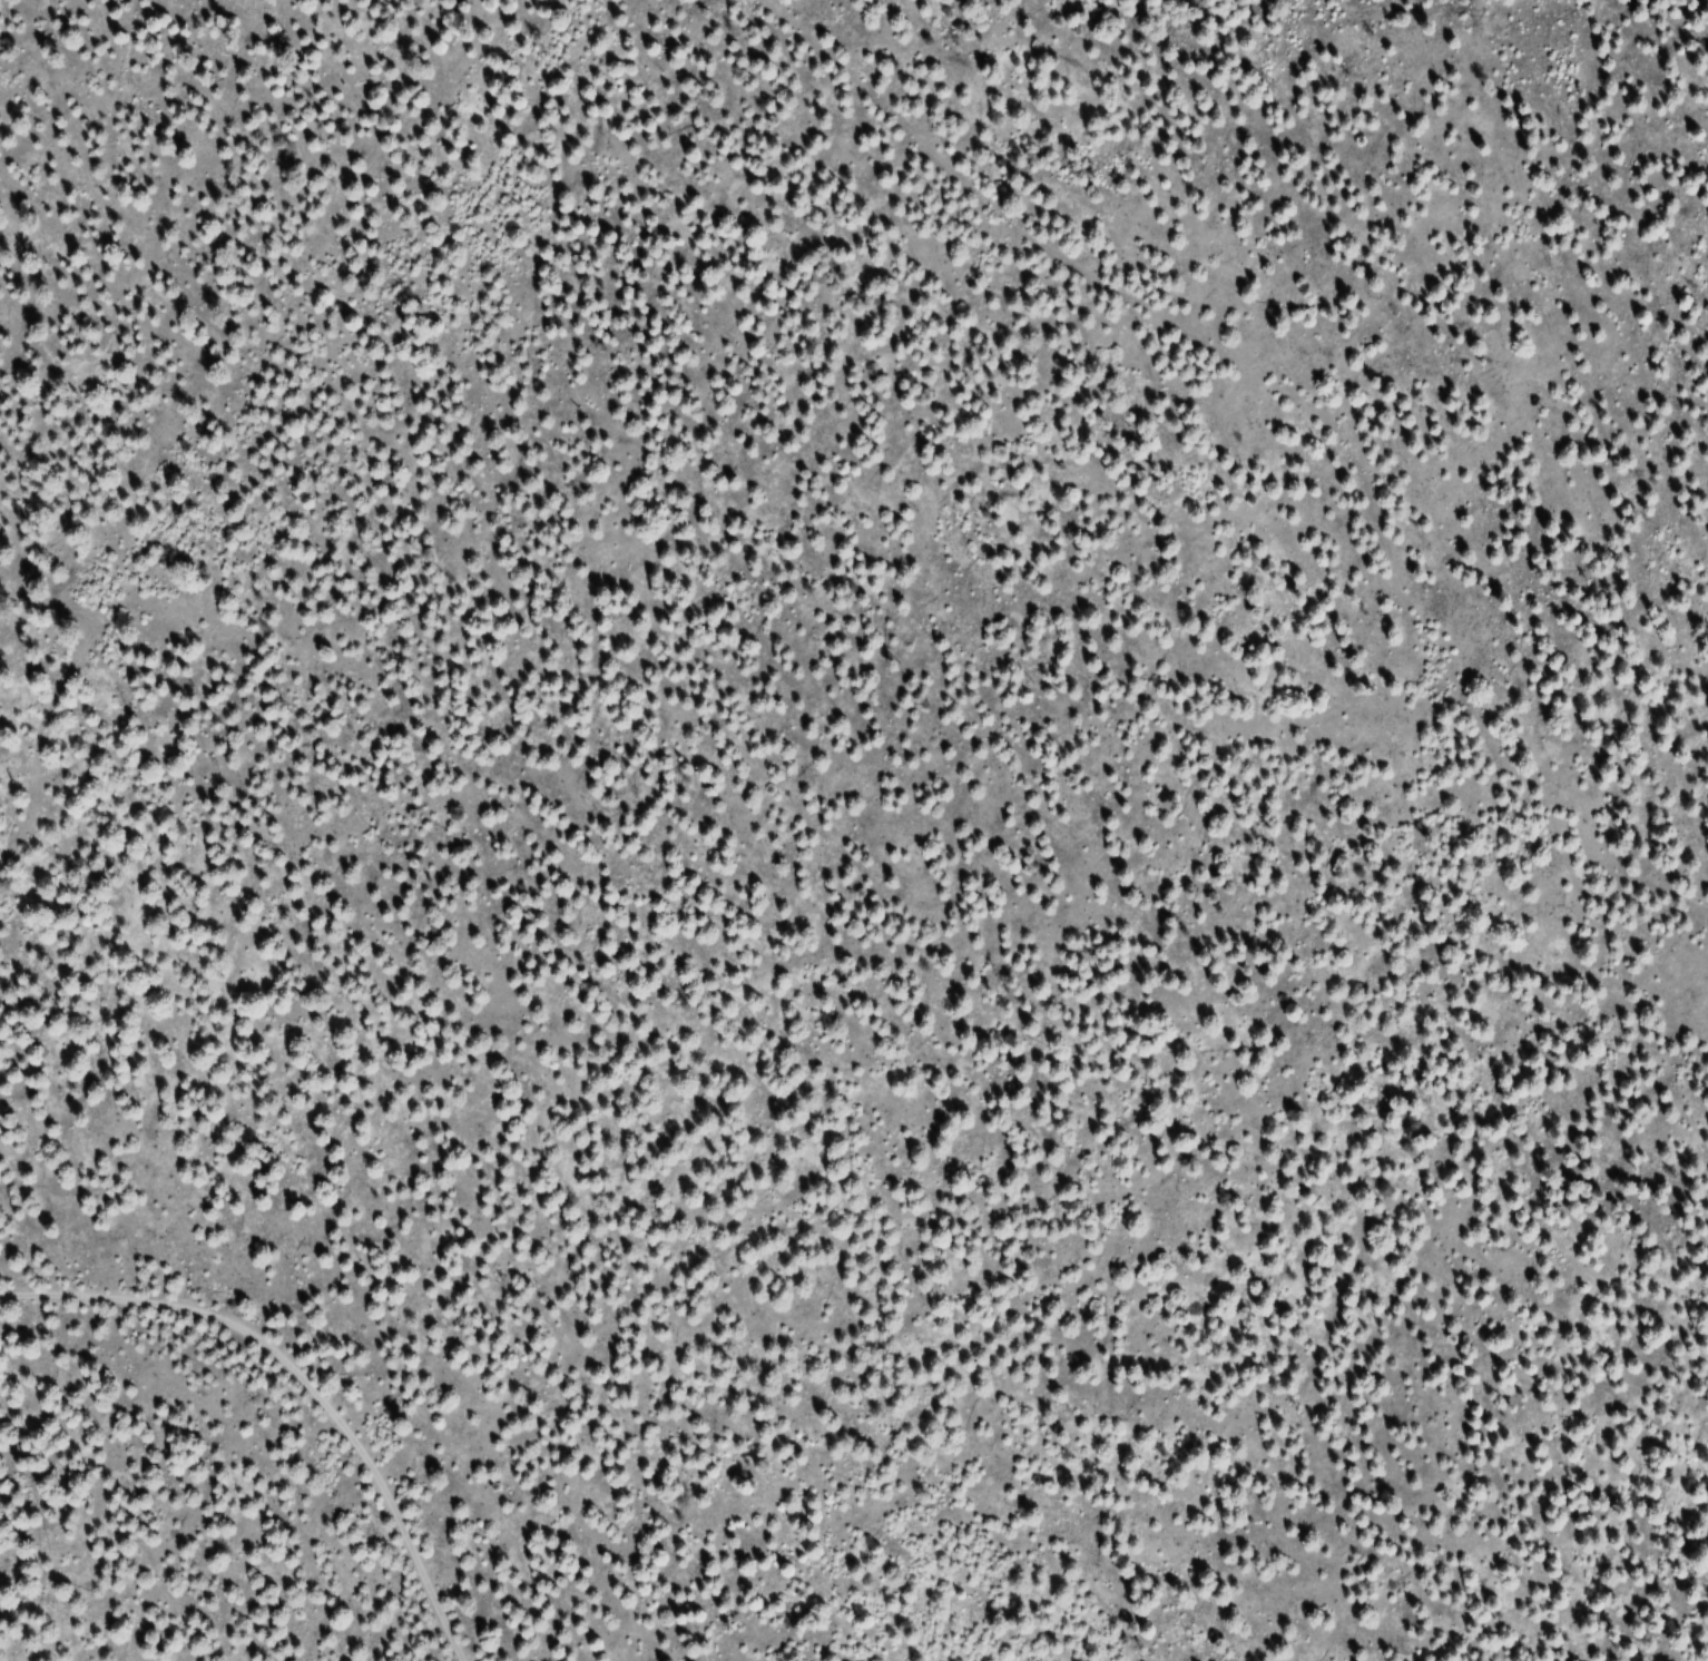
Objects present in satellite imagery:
road: (278, 1392)

